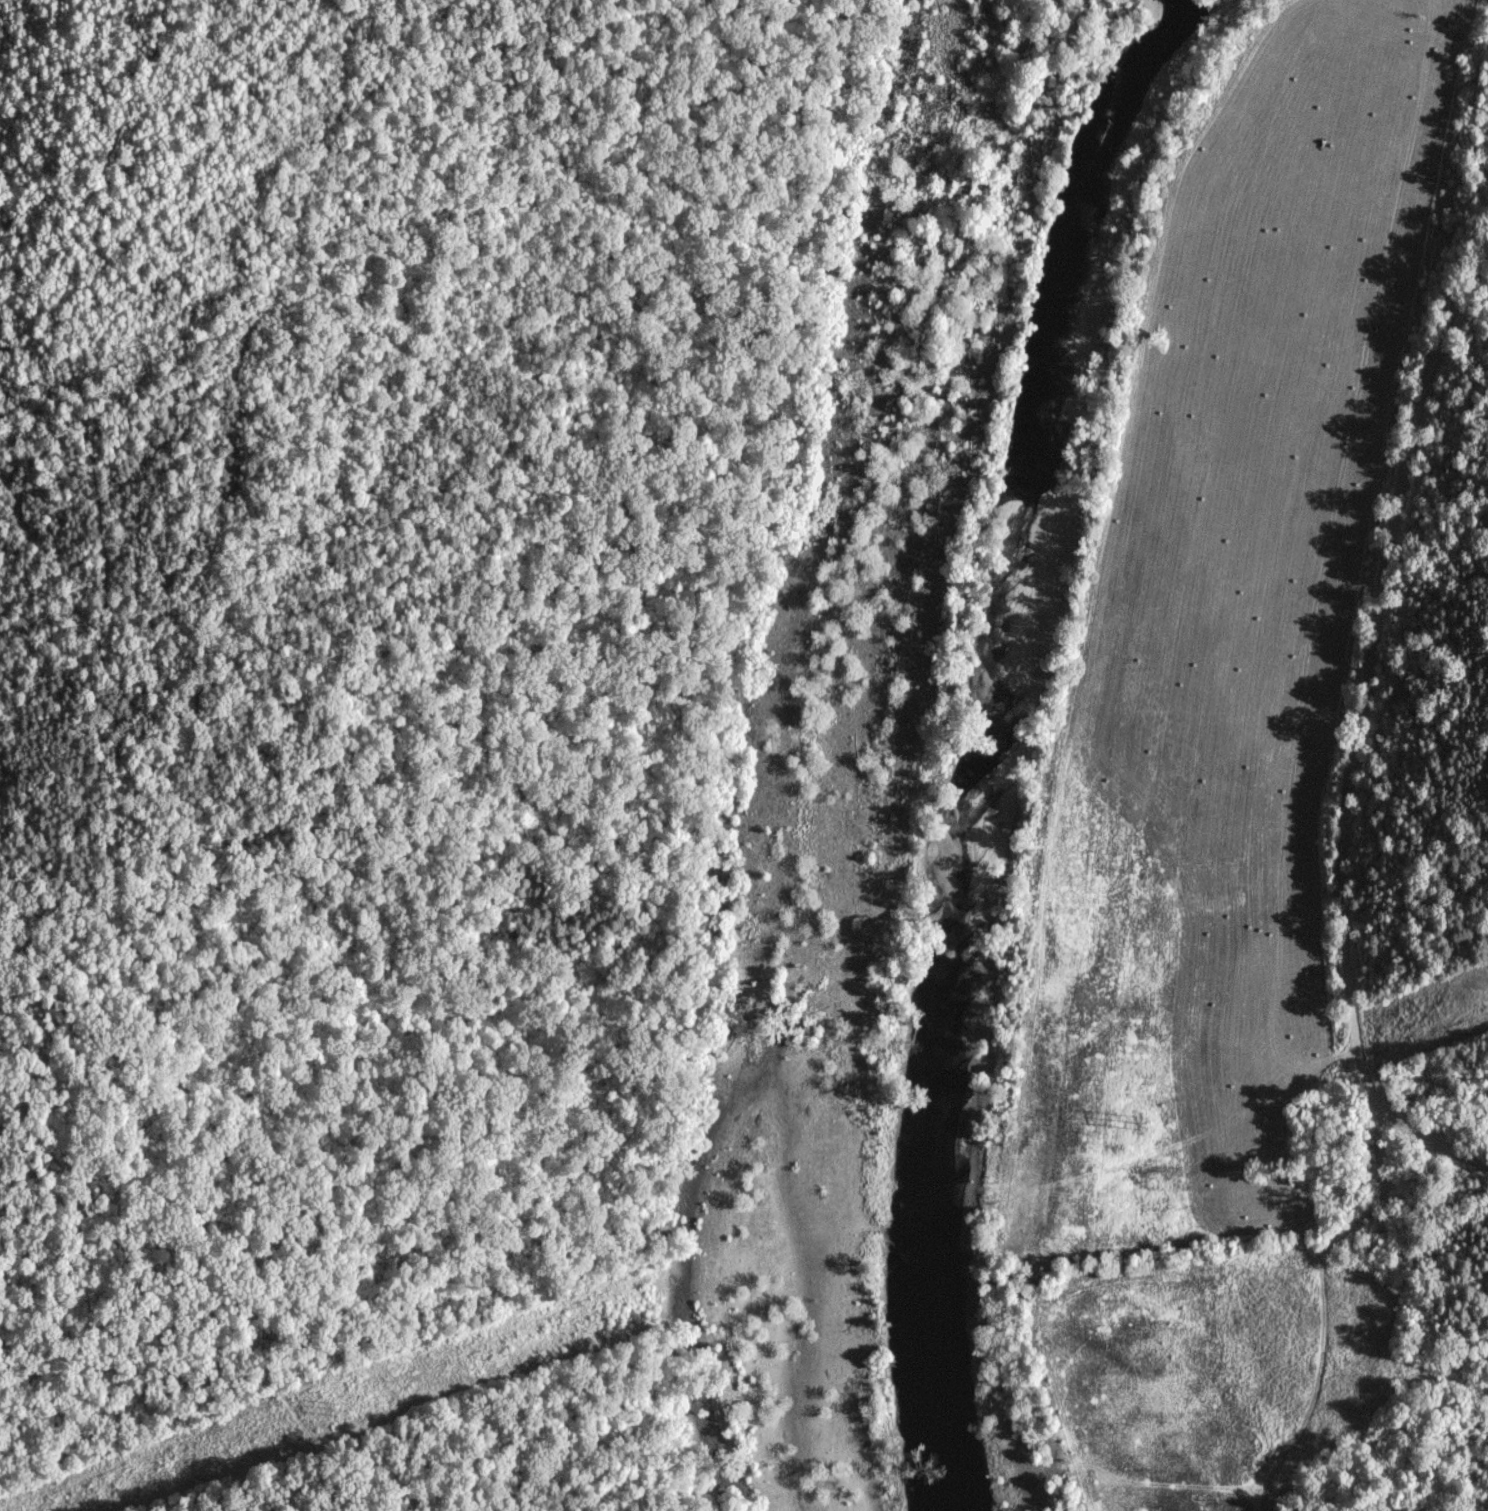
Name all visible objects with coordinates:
road: (1307, 728)

